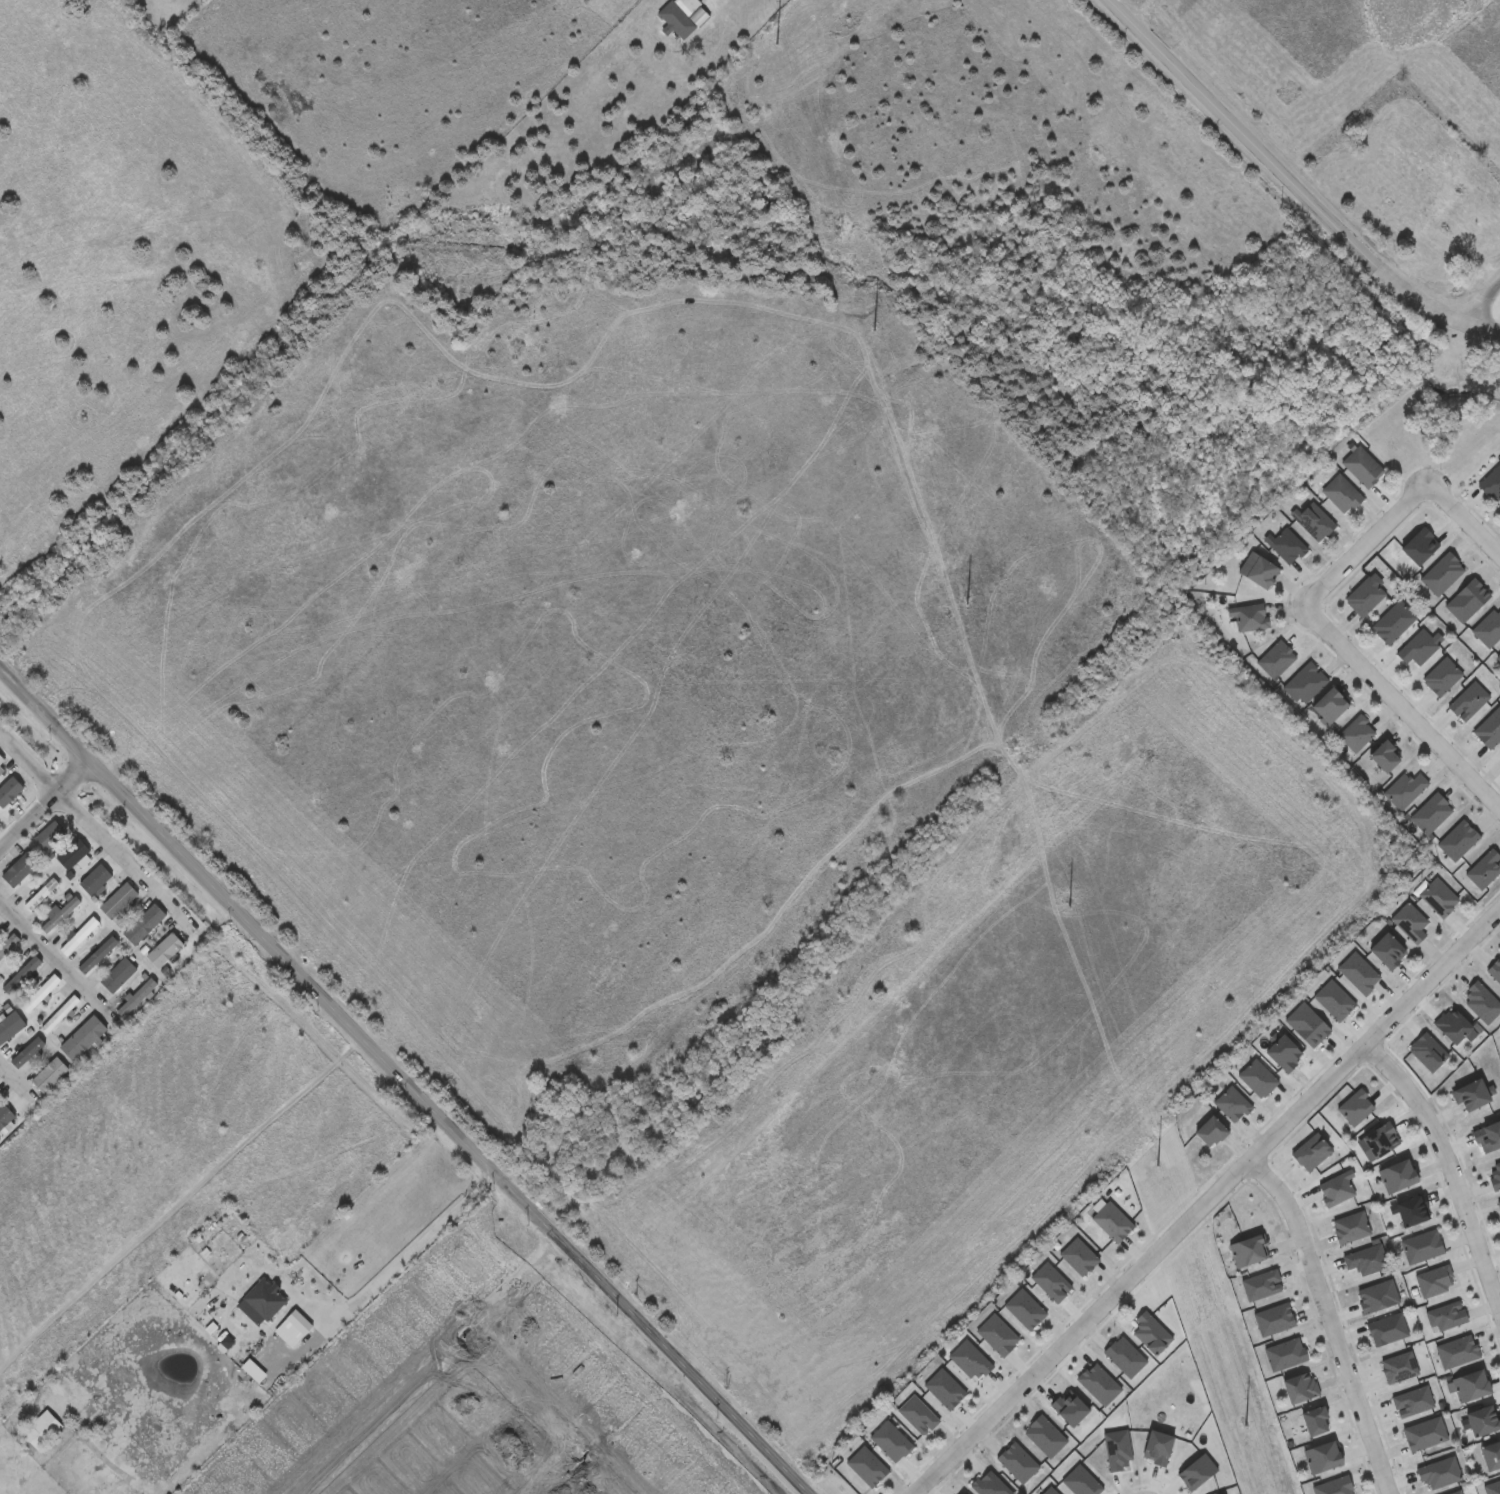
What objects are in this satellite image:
building: (680, 16)
road: (1277, 171)
road: (1481, 301)
road: (1481, 328)
building: (1362, 465)
building: (1492, 481)
building: (1341, 491)
building: (1314, 519)
road: (1466, 522)
building: (1286, 543)
building: (1418, 544)
road: (1367, 545)
building: (1258, 569)
building: (1443, 573)
building: (1365, 596)
building: (1465, 599)
building: (1249, 615)
building: (1393, 620)
building: (1488, 627)
building: (1419, 645)
building: (1498, 655)
building: (1275, 658)
building: (1499, 660)
building: (1442, 676)
building: (1305, 682)
building: (1470, 699)
building: (1330, 704)
road: (1403, 709)
building: (1492, 725)
building: (1357, 732)
building: (1384, 754)
building: (0, 760)
building: (1, 771)
building: (8, 785)
building: (1404, 788)
road: (44, 805)
building: (1430, 812)
road: (91, 814)
building: (0, 827)
building: (48, 835)
building: (1455, 840)
building: (72, 853)
building: (1484, 868)
building: (17, 870)
building: (93, 880)
building: (33, 895)
building: (1439, 896)
building: (117, 901)
building: (57, 916)
building: (1410, 921)
building: (0, 924)
building: (142, 925)
road: (41, 933)
building: (78, 935)
building: (9, 946)
building: (1387, 949)
building: (163, 950)
building: (98, 955)
building: (1356, 968)
building: (1495, 969)
building: (21, 974)
building: (117, 975)
building: (41, 995)
building: (135, 997)
building: (1332, 997)
building: (1481, 1000)
building: (61, 1015)
building: (1305, 1021)
building: (1453, 1024)
building: (10, 1027)
building: (82, 1039)
building: (1427, 1050)
building: (1283, 1052)
building: (29, 1055)
road: (9, 1066)
building: (48, 1075)
building: (1258, 1077)
road: (400, 1083)
building: (1470, 1094)
building: (1233, 1103)
building: (1356, 1106)
building: (1210, 1130)
building: (1488, 1135)
building: (1380, 1139)
building: (1311, 1150)
road: (1449, 1167)
building: (1397, 1174)
building: (1495, 1176)
building: (1337, 1187)
road: (1208, 1203)
building: (1498, 1203)
building: (1412, 1209)
building: (1111, 1218)
building: (1350, 1225)
building: (1248, 1249)
building: (1077, 1253)
building: (1366, 1258)
building: (1048, 1280)
road: (377, 1282)
building: (1261, 1282)
road: (501, 1303)
building: (1025, 1308)
building: (1276, 1317)
road: (1332, 1321)
building: (1387, 1328)
building: (1151, 1331)
building: (995, 1333)
building: (1285, 1352)
building: (1123, 1354)
building: (970, 1357)
building: (1097, 1381)
building: (1471, 1384)
building: (1300, 1385)
building: (945, 1386)
building: (1067, 1406)
building: (918, 1414)
road: (533, 1417)
building: (1483, 1418)
building: (1315, 1419)
building: (39, 1432)
building: (1425, 1432)
building: (1044, 1433)
building: (890, 1439)
road: (216, 1440)
building: (1490, 1452)
building: (1322, 1454)
building: (1017, 1461)
building: (867, 1465)
building: (1439, 1471)
building: (989, 1483)
road: (575, 1484)
building: (1455, 1492)
building: (960, 1493)

